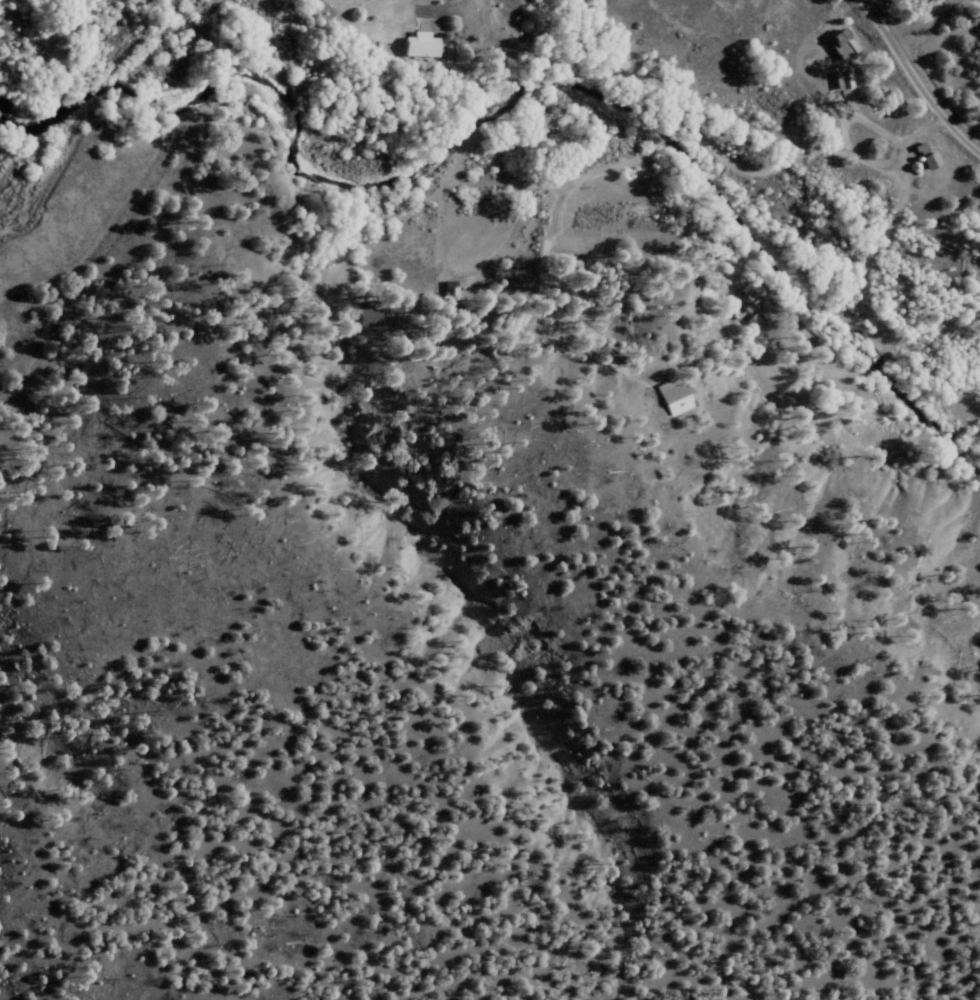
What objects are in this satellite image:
road: (924, 25)
building: (418, 46)
building: (840, 46)
road: (914, 83)
road: (753, 174)
building: (746, 301)
road: (567, 316)
building: (671, 399)

